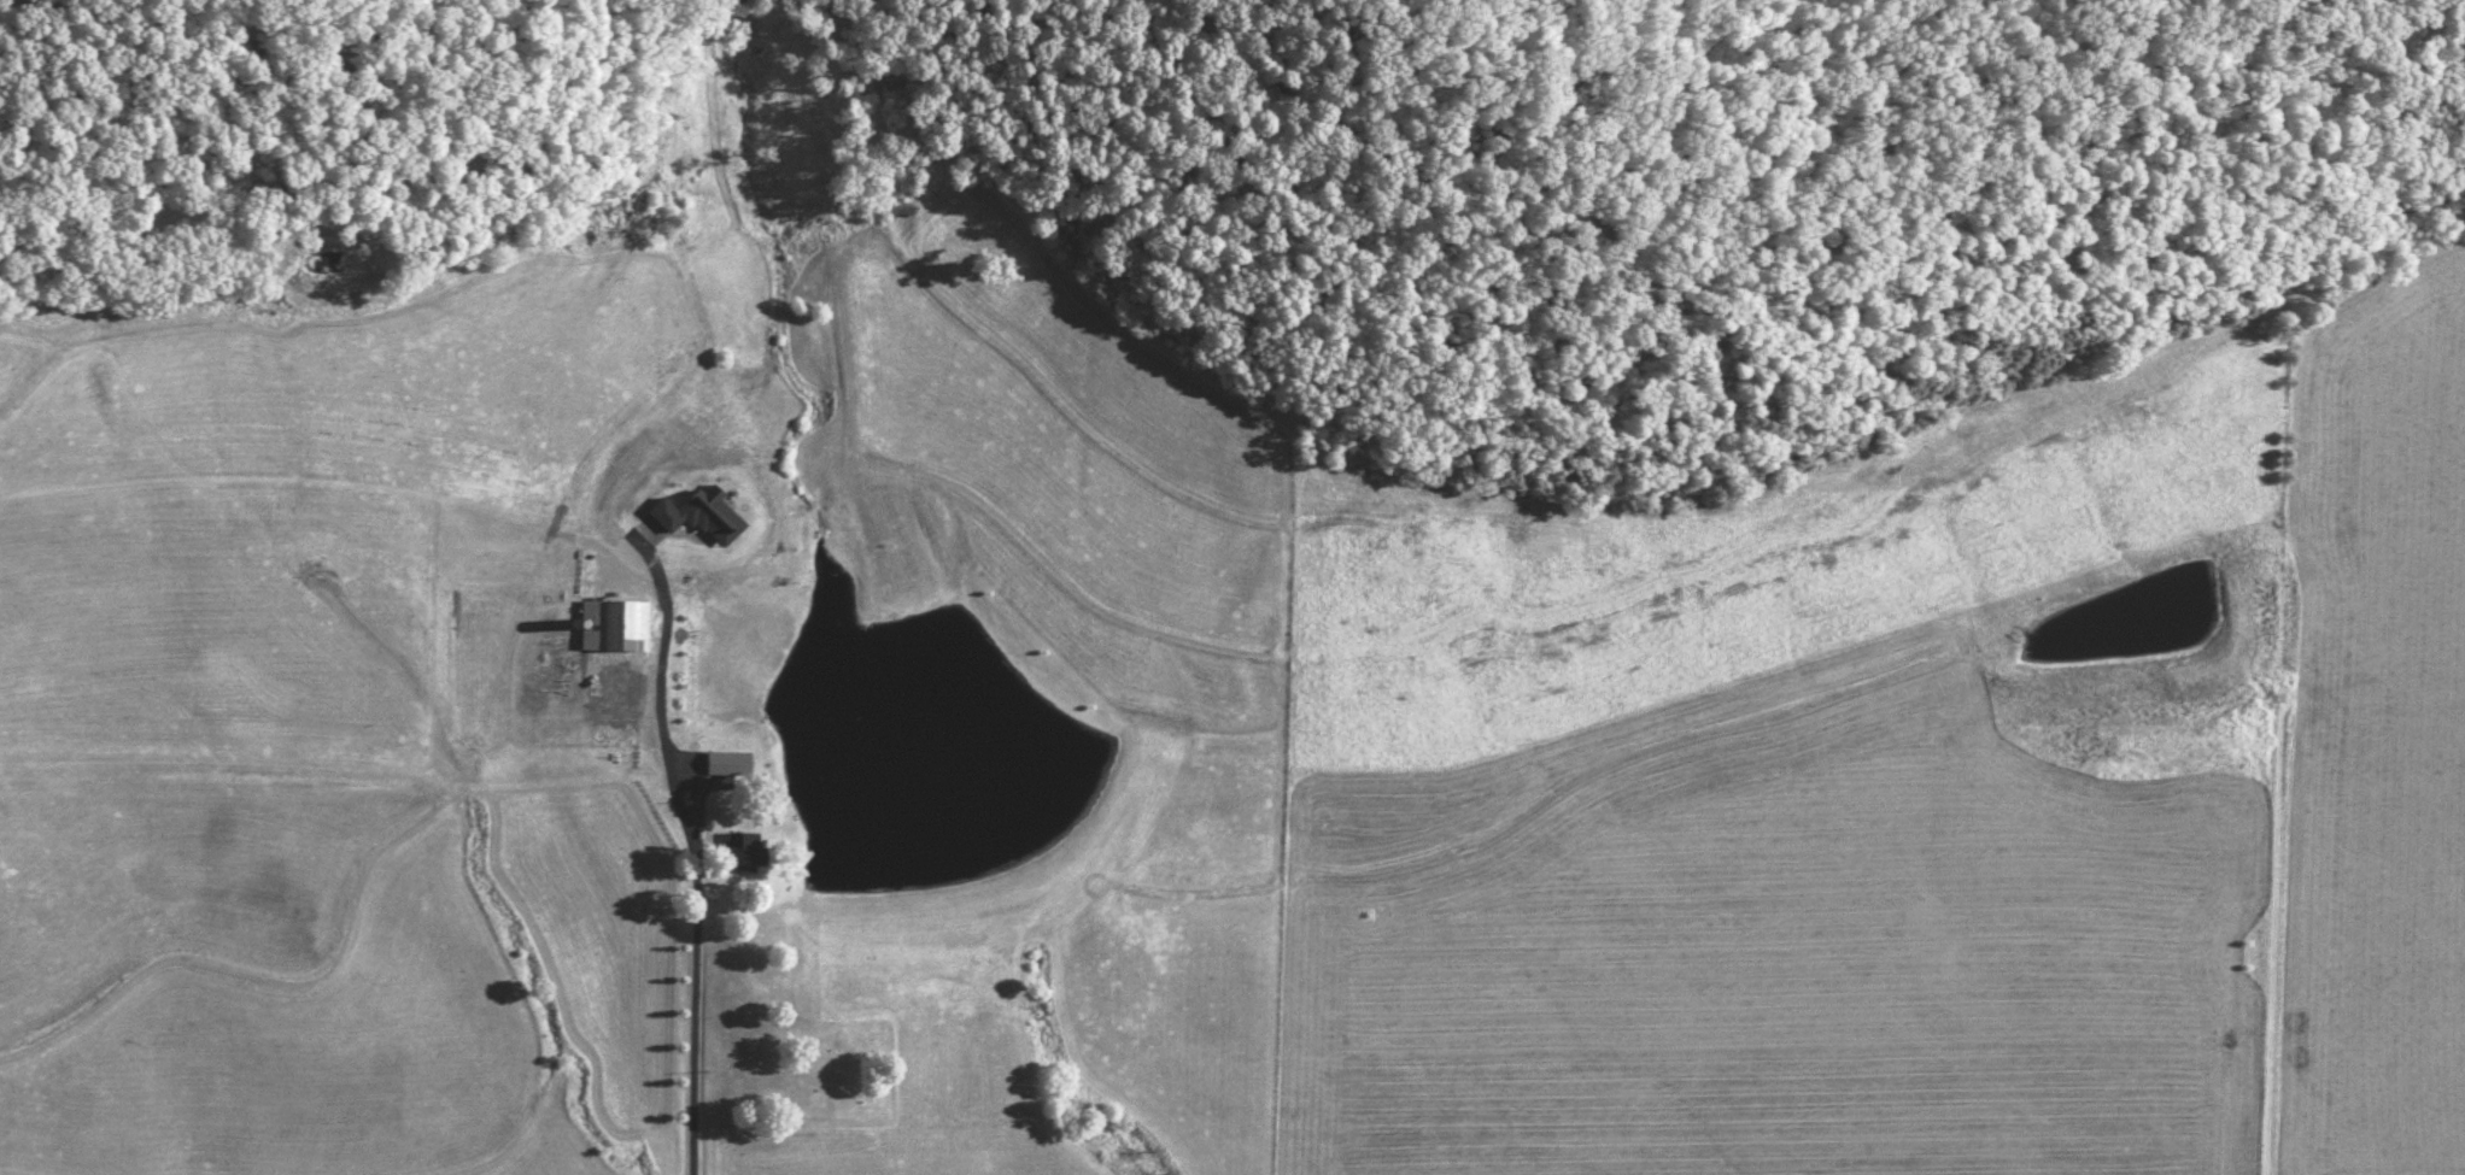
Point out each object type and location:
building: (689, 638)
building: (687, 676)
road: (660, 725)
building: (734, 758)
building: (740, 850)
road: (692, 1009)
park: (836, 1069)

